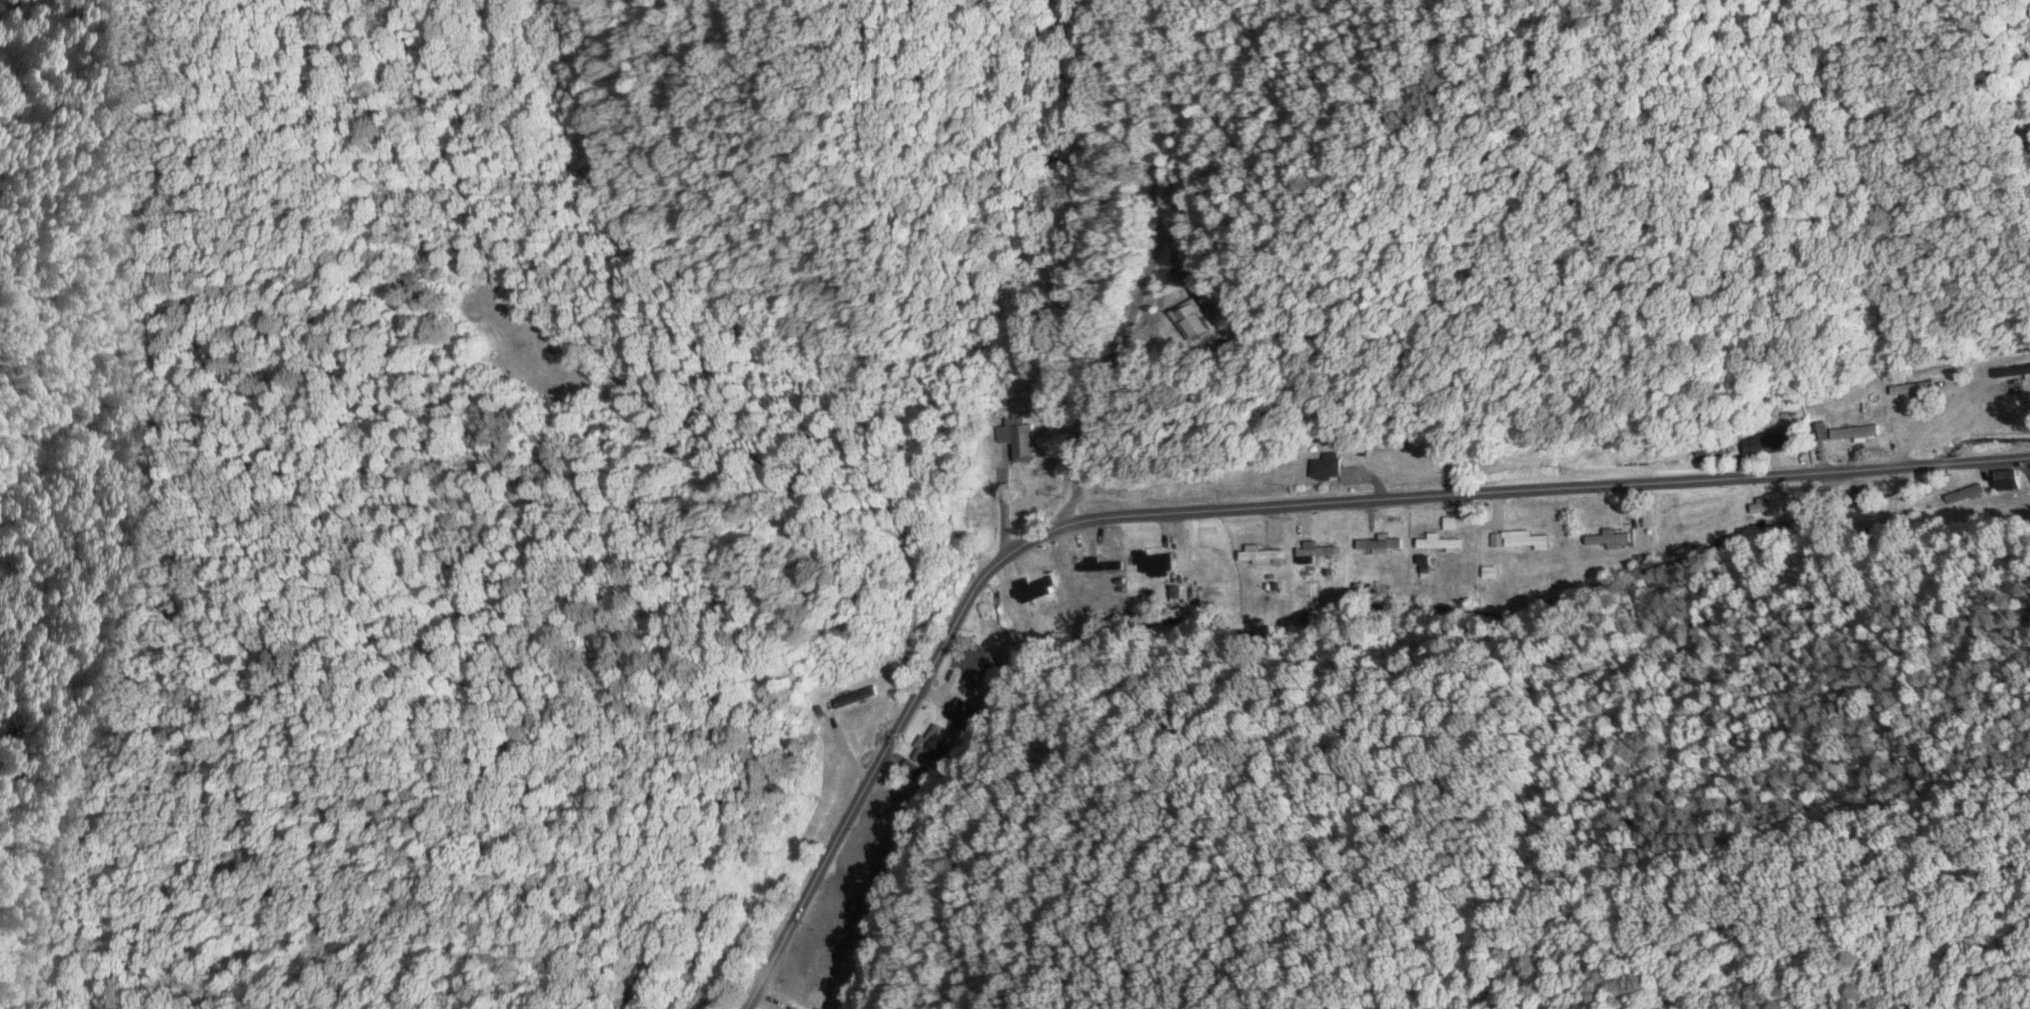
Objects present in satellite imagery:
road: (1048, 288)
building: (1183, 320)
building: (2010, 370)
building: (1815, 429)
building: (1851, 431)
building: (1016, 437)
building: (1763, 443)
building: (1330, 468)
road: (1778, 472)
building: (1768, 504)
building: (1604, 537)
building: (1523, 540)
building: (1375, 542)
building: (1435, 542)
building: (1313, 549)
road: (1006, 551)
building: (1257, 554)
building: (1205, 555)
building: (1151, 562)
building: (1098, 564)
building: (1031, 587)
building: (979, 664)
building: (845, 699)
building: (965, 713)
building: (933, 743)
building: (915, 772)
building: (884, 810)
building: (832, 922)
building: (639, 980)
building: (805, 980)
building: (790, 1007)

